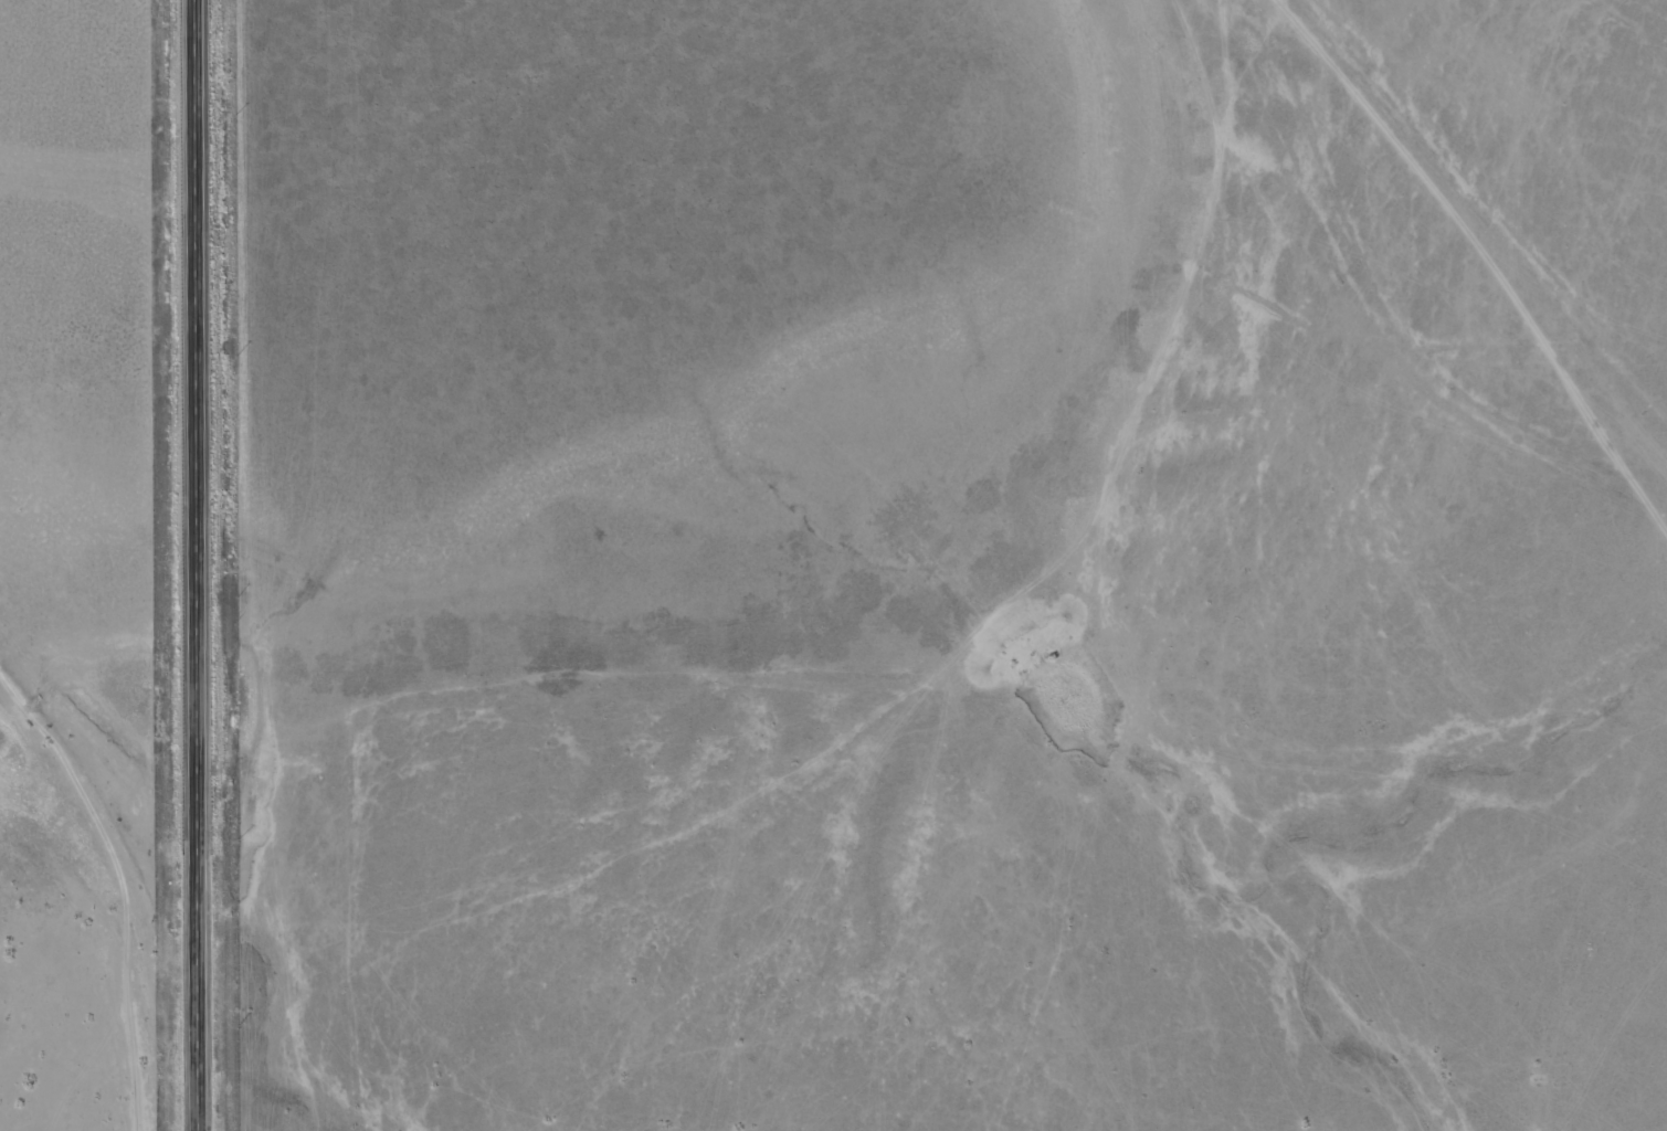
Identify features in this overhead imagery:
road: (194, 564)
road: (75, 759)

